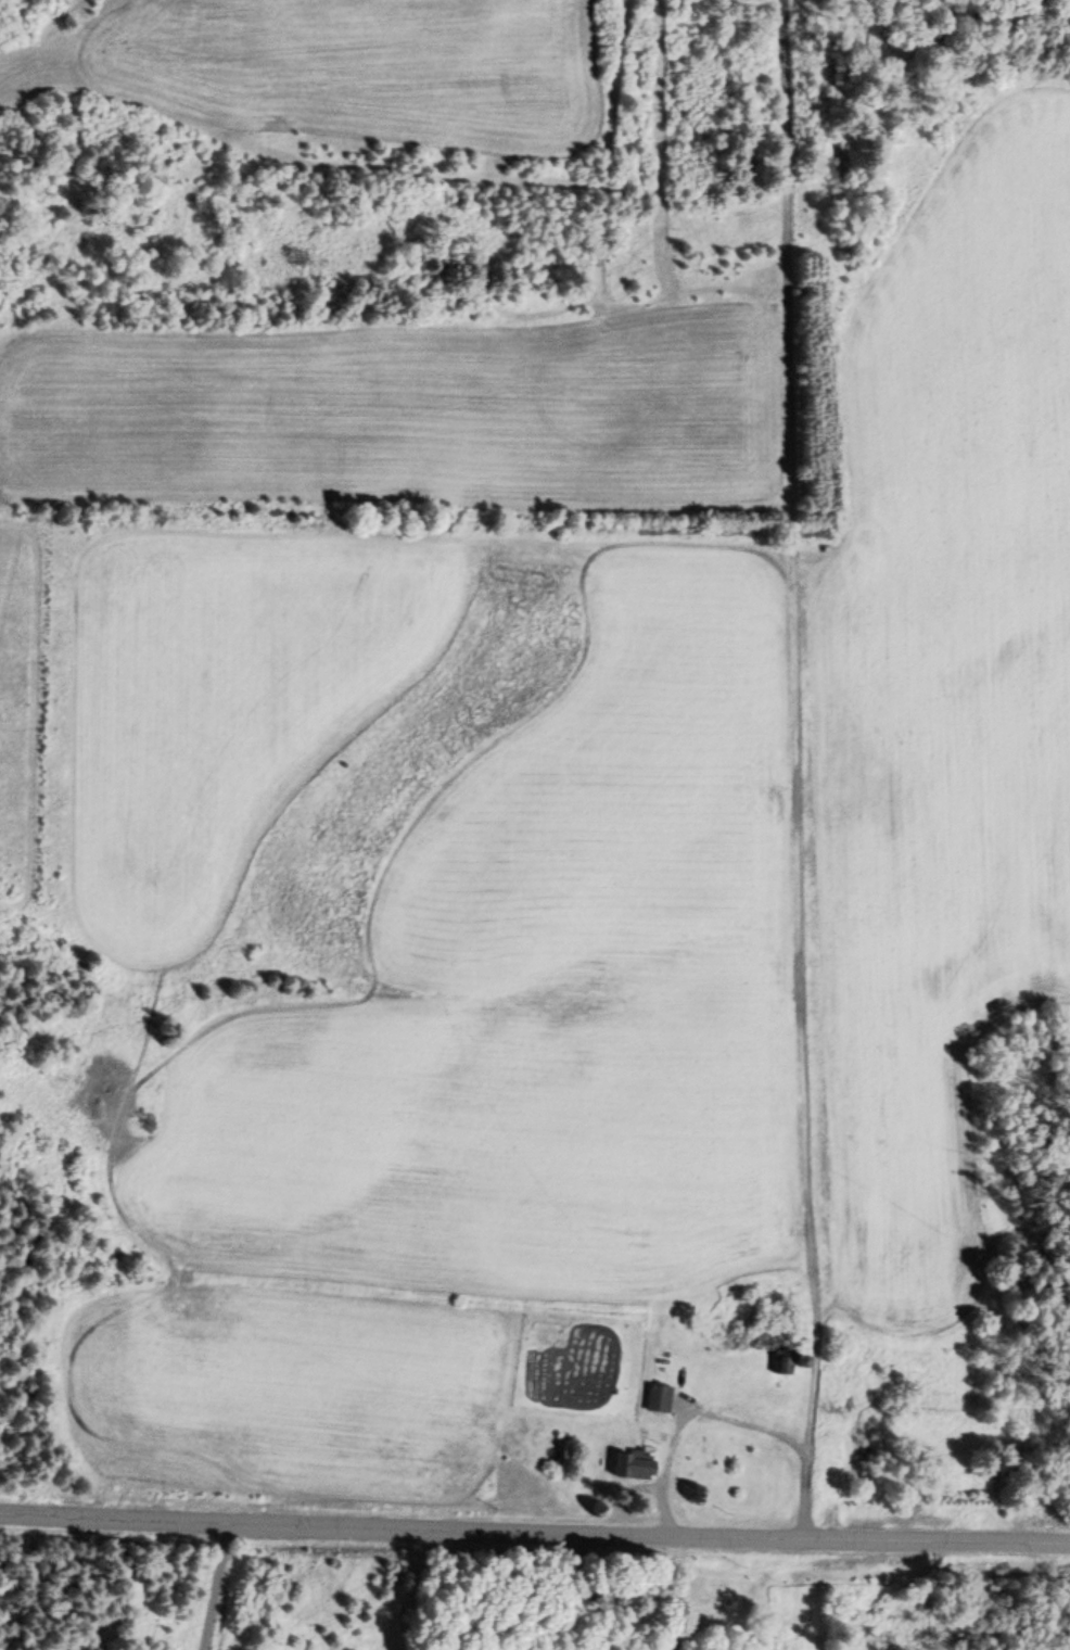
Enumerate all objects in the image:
building: (659, 1398)
building: (633, 1465)
road: (534, 1532)

